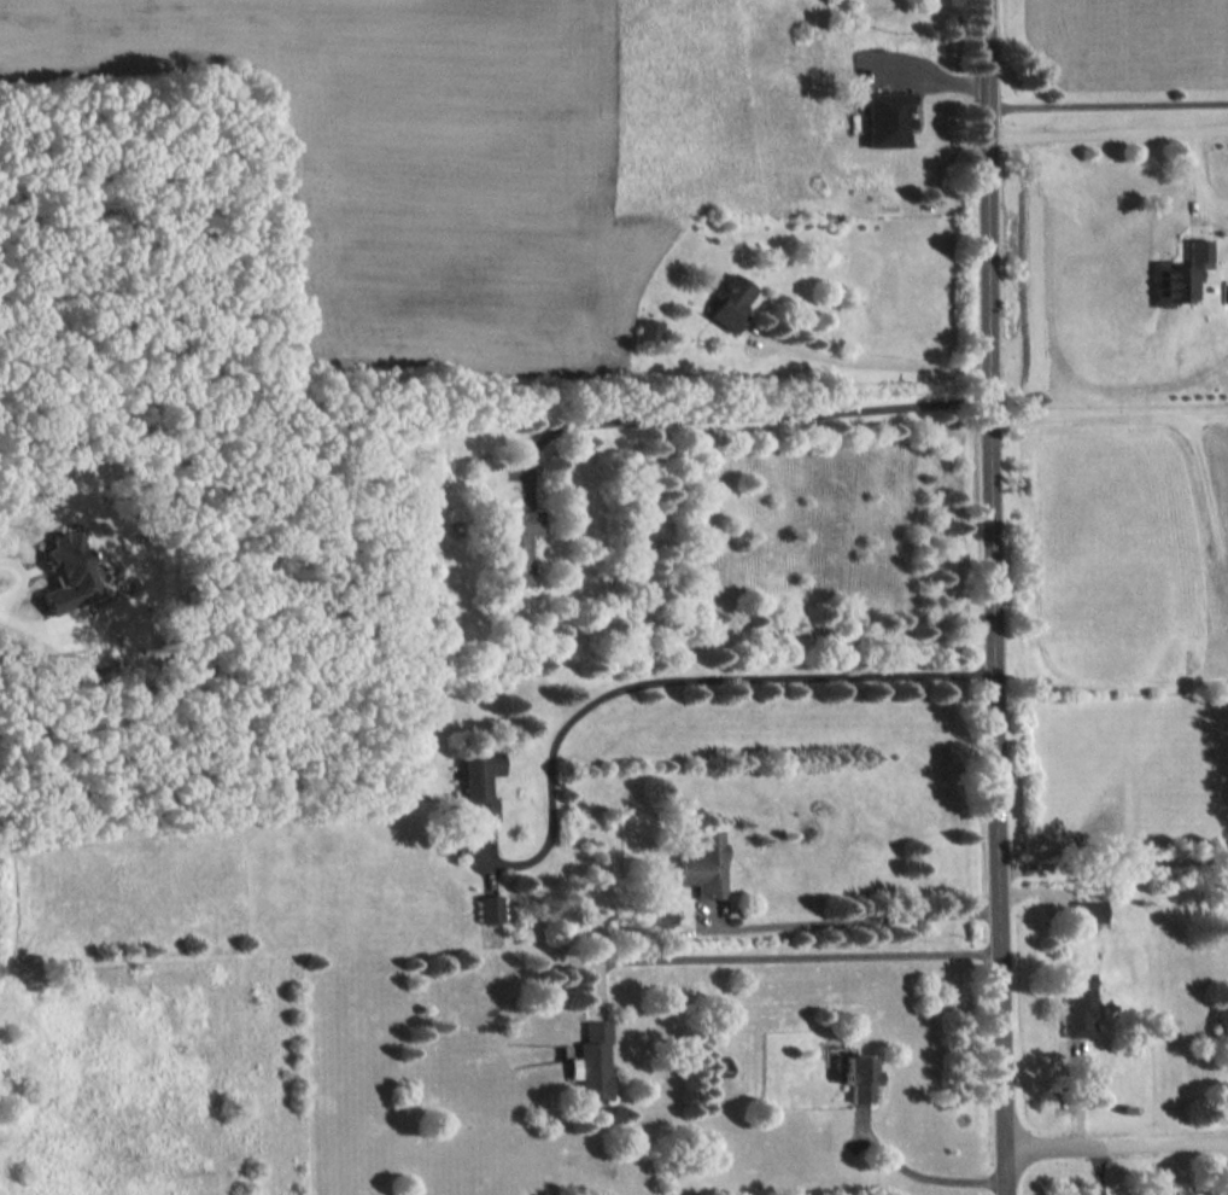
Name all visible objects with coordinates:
road: (928, 70)
road: (1107, 101)
building: (885, 118)
road: (1109, 133)
building: (1182, 273)
building: (730, 301)
building: (650, 328)
road: (873, 361)
road: (1110, 416)
road: (741, 418)
building: (416, 464)
road: (1215, 479)
building: (520, 544)
building: (69, 572)
road: (995, 596)
road: (19, 620)
road: (671, 669)
building: (480, 781)
road: (1115, 861)
building: (703, 863)
building: (490, 908)
building: (1090, 910)
building: (662, 917)
road: (853, 921)
road: (796, 955)
building: (1078, 1002)
building: (1222, 1020)
building: (590, 1061)
building: (859, 1075)
road: (1116, 1147)
road: (918, 1176)

